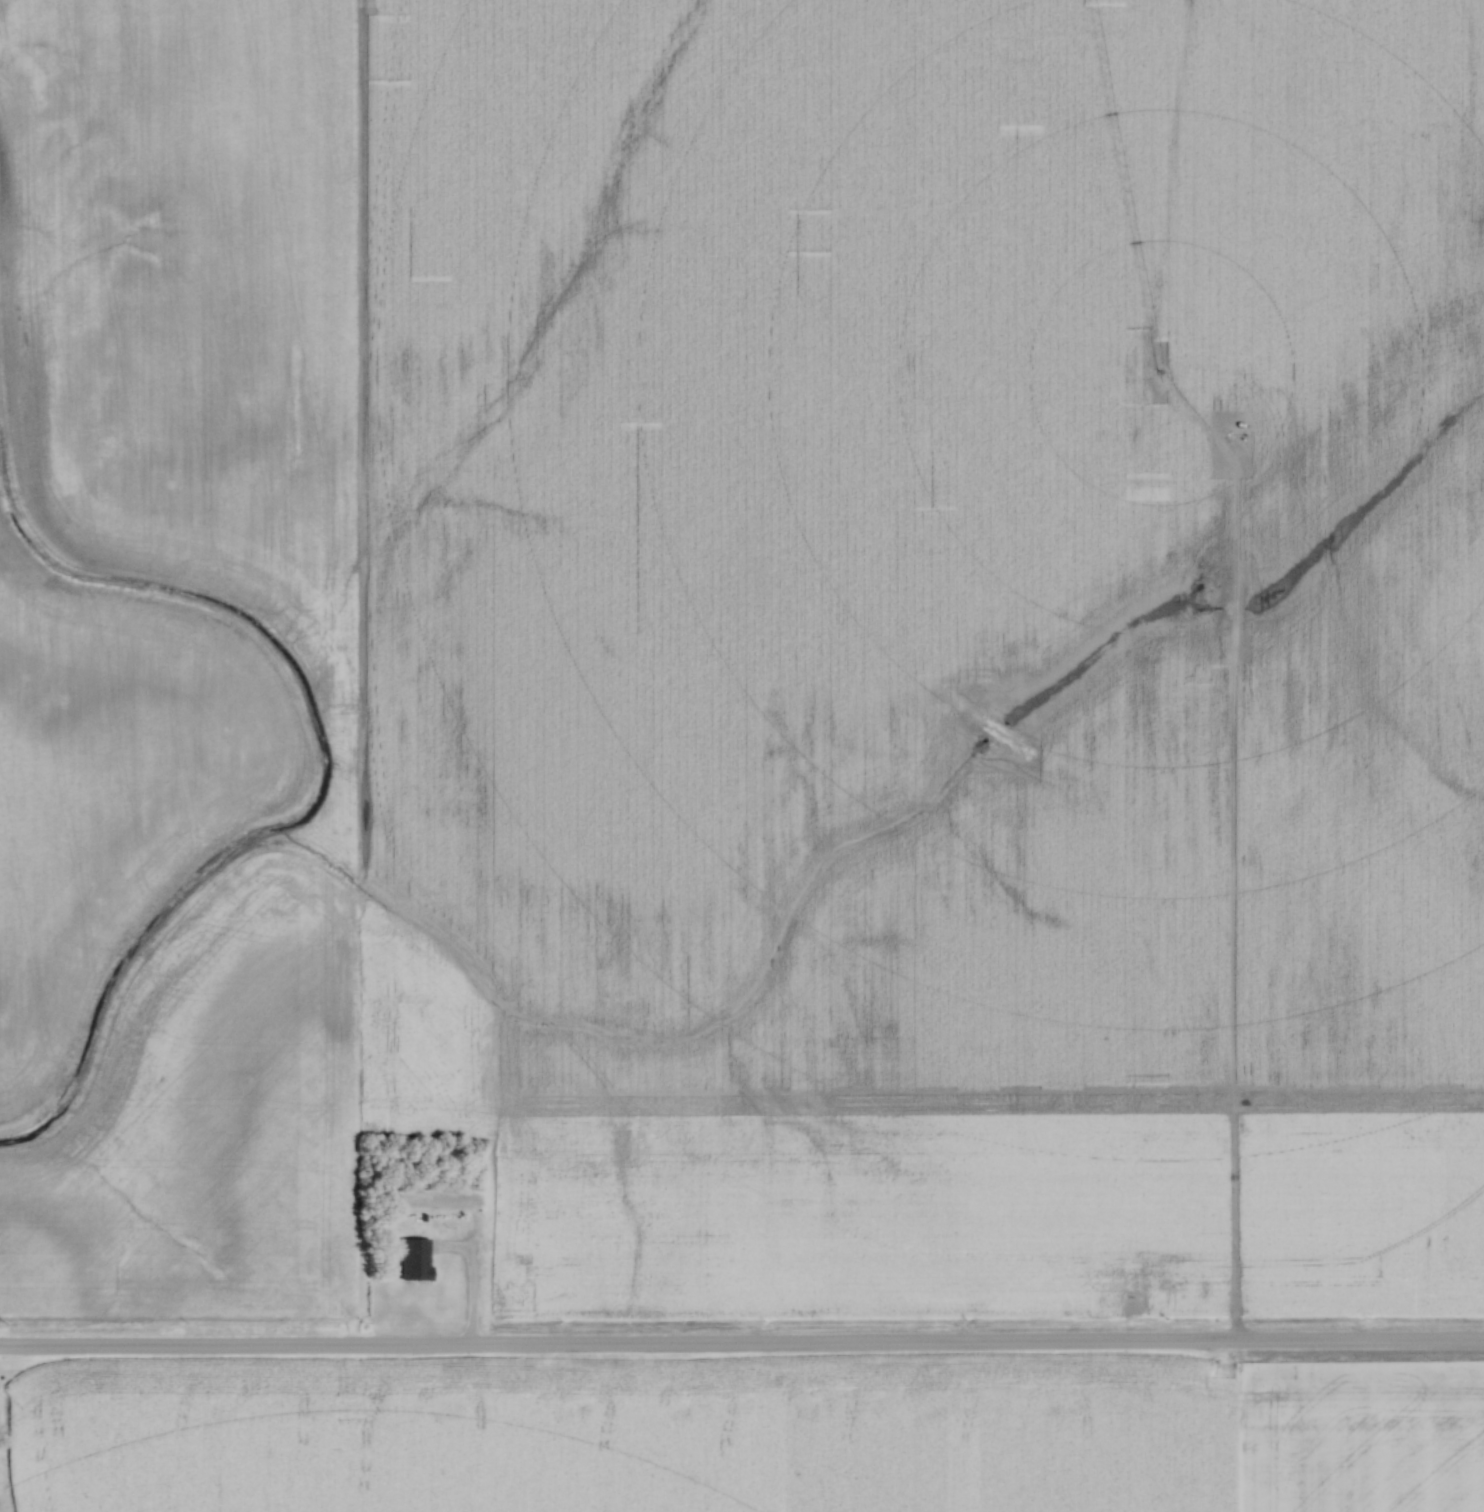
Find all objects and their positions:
building: (413, 1260)
road: (471, 1291)
road: (741, 1346)

